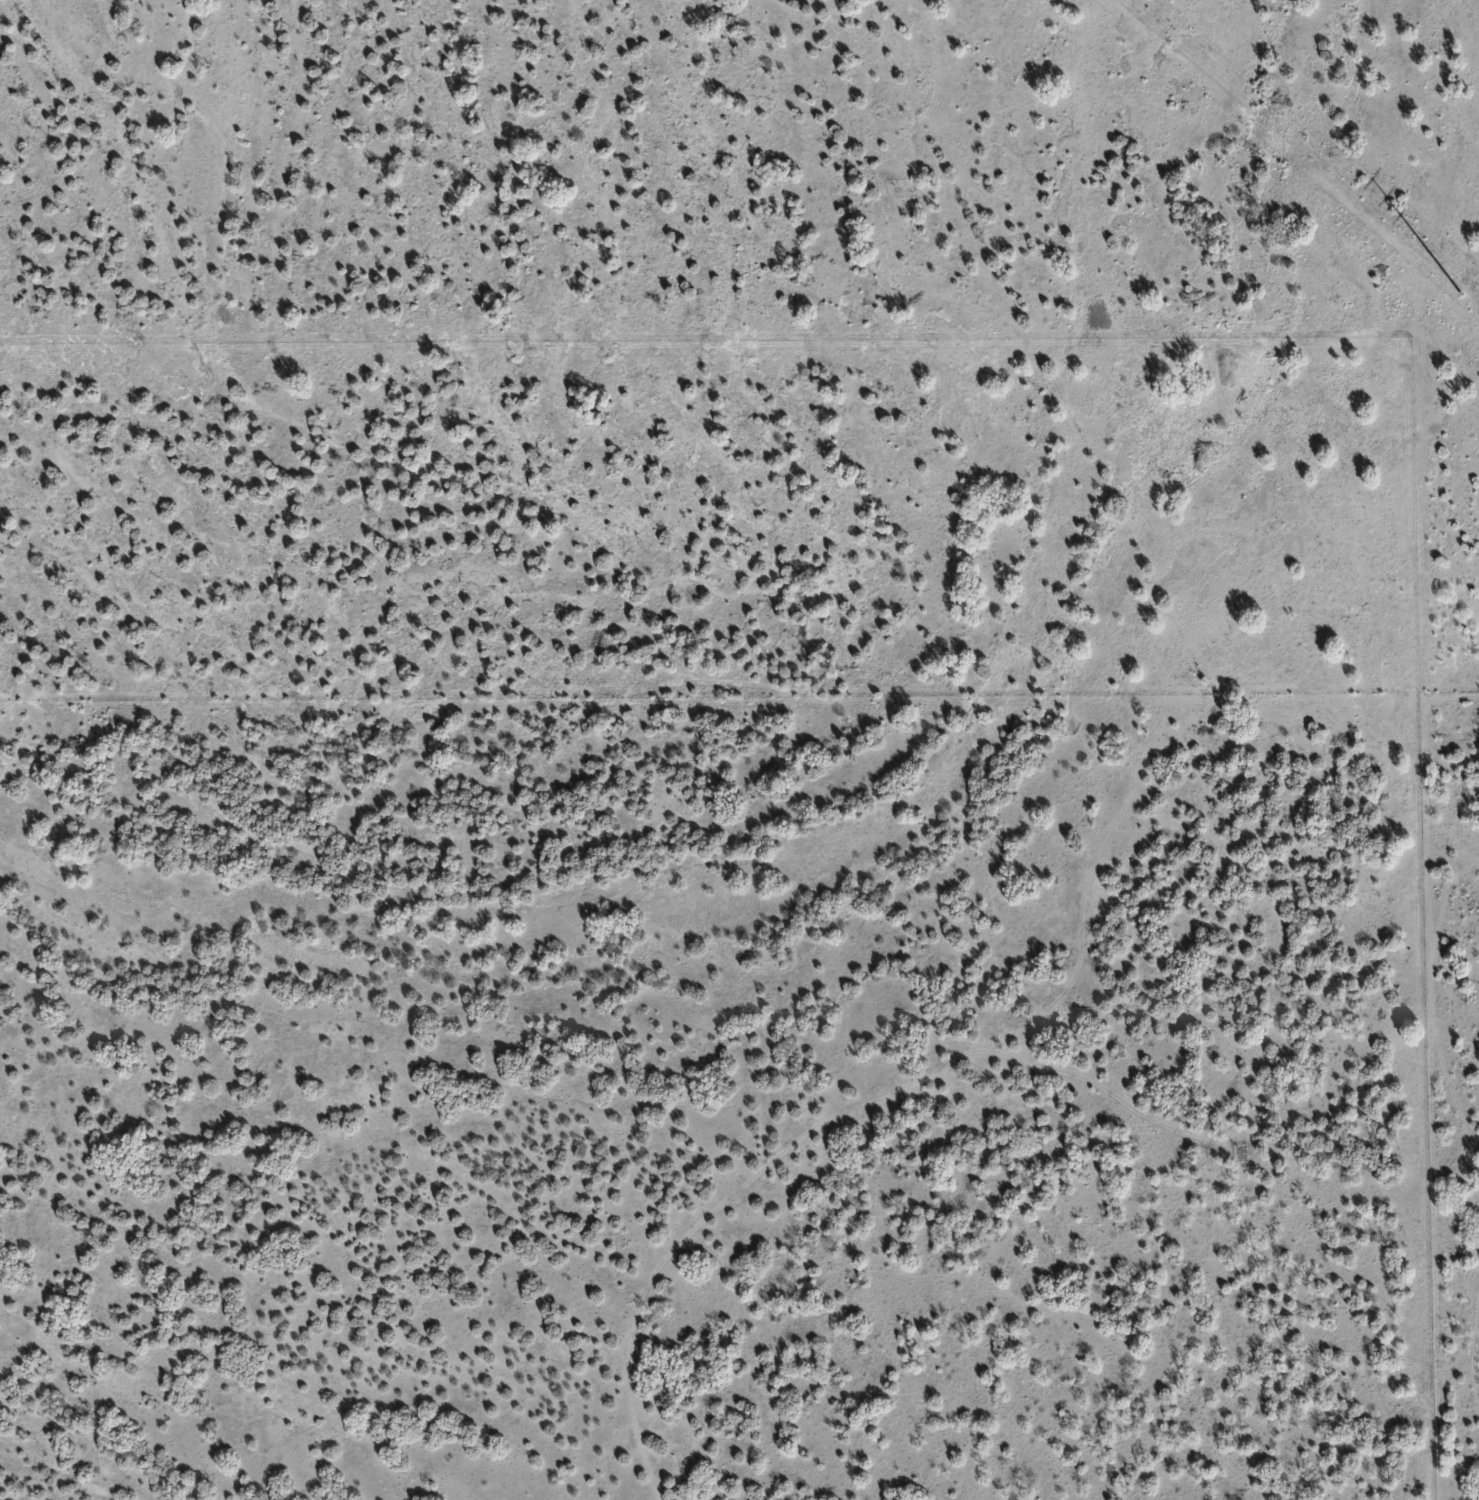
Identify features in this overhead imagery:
power tower: (1458, 294)

